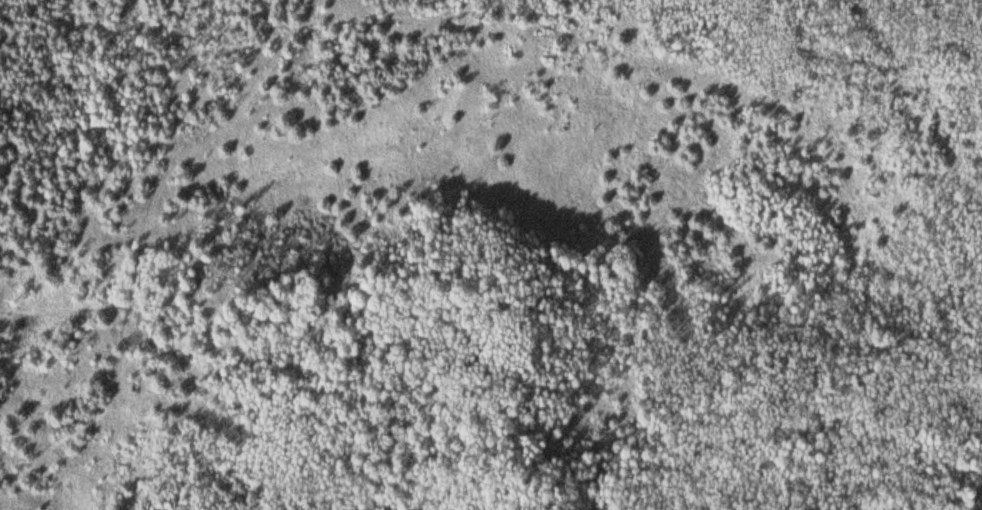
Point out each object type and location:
road: (24, 90)
road: (197, 141)
road: (103, 308)
road: (91, 414)

